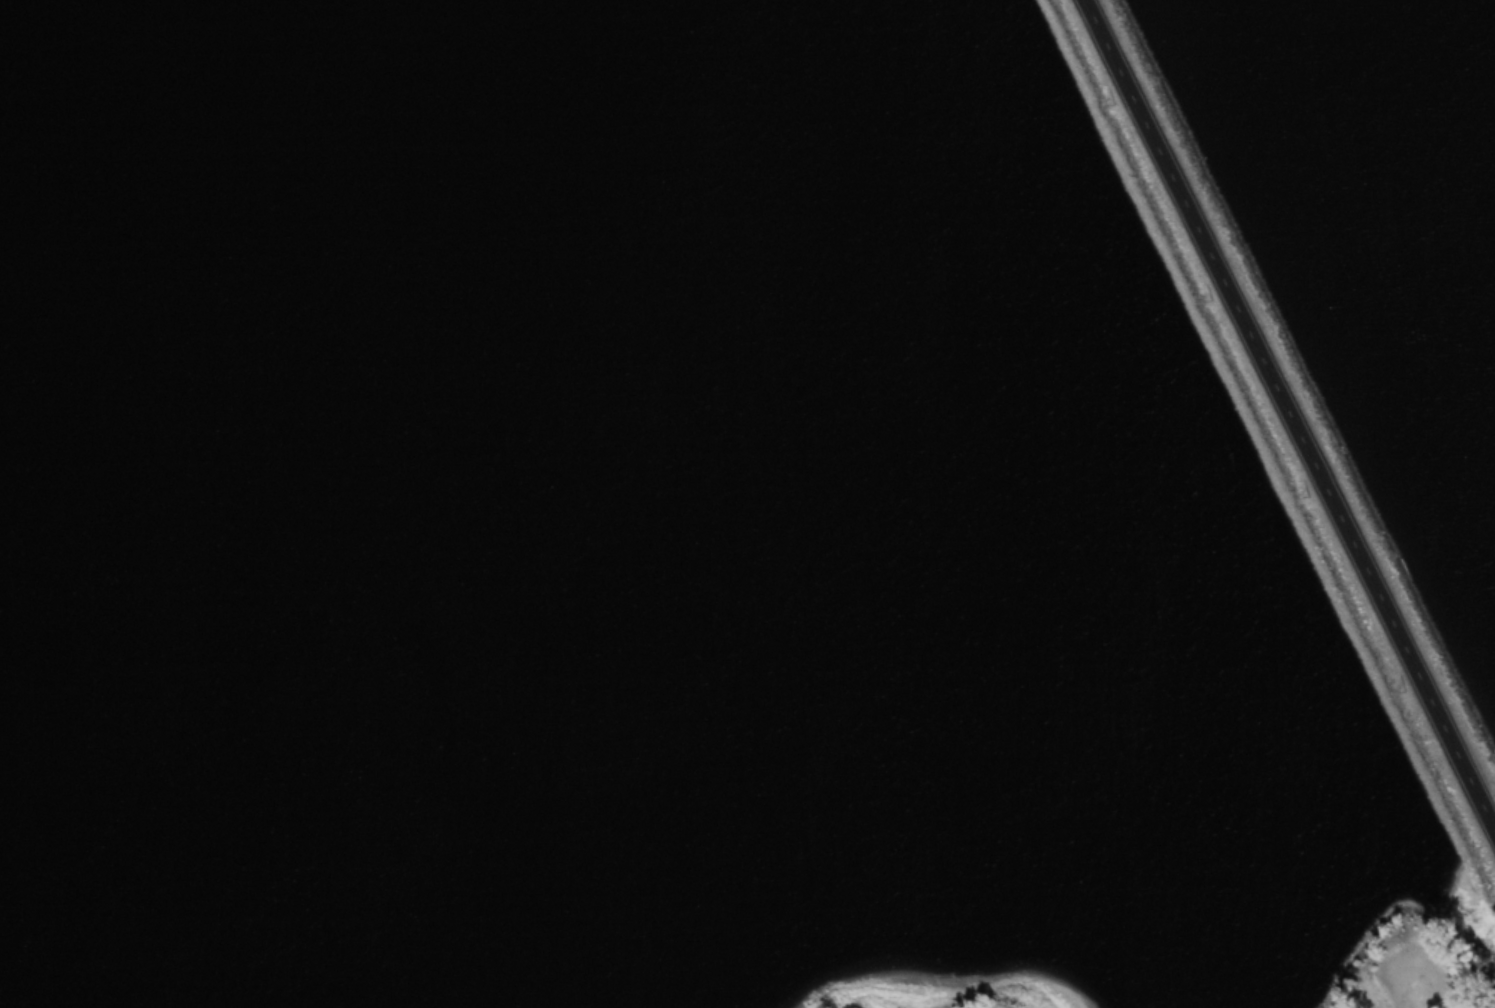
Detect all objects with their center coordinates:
road: (1289, 412)

